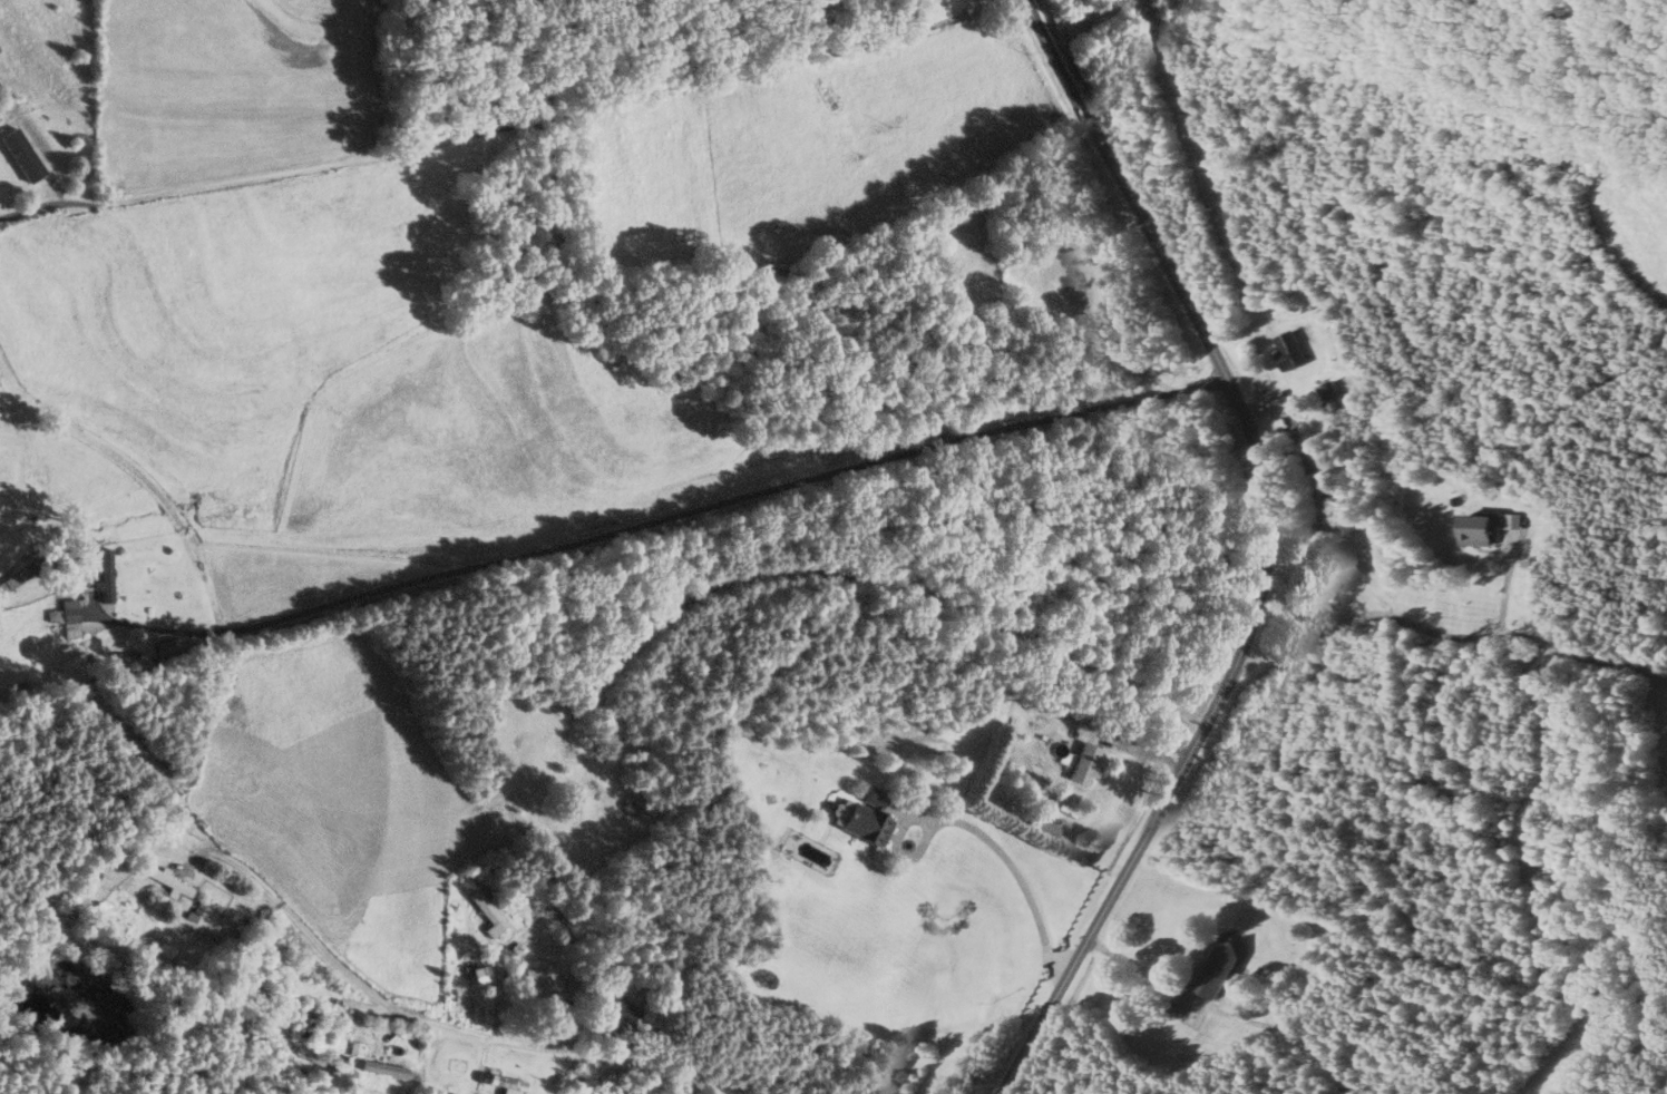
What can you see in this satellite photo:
road: (505, 125)
building: (574, 157)
building: (11, 162)
building: (1287, 348)
building: (1328, 395)
road: (720, 501)
building: (1474, 528)
road: (1258, 554)
building: (106, 575)
building: (16, 578)
building: (1322, 603)
building: (67, 617)
road: (155, 625)
road: (1440, 633)
building: (1082, 720)
building: (1084, 763)
building: (599, 793)
building: (865, 817)
building: (1044, 827)
road: (978, 831)
building: (170, 882)
building: (487, 911)
building: (1218, 968)
building: (539, 977)
building: (620, 1006)
road: (1225, 1012)
building: (306, 1016)
road: (428, 1022)
building: (354, 1048)
building: (587, 1073)
building: (503, 1082)

